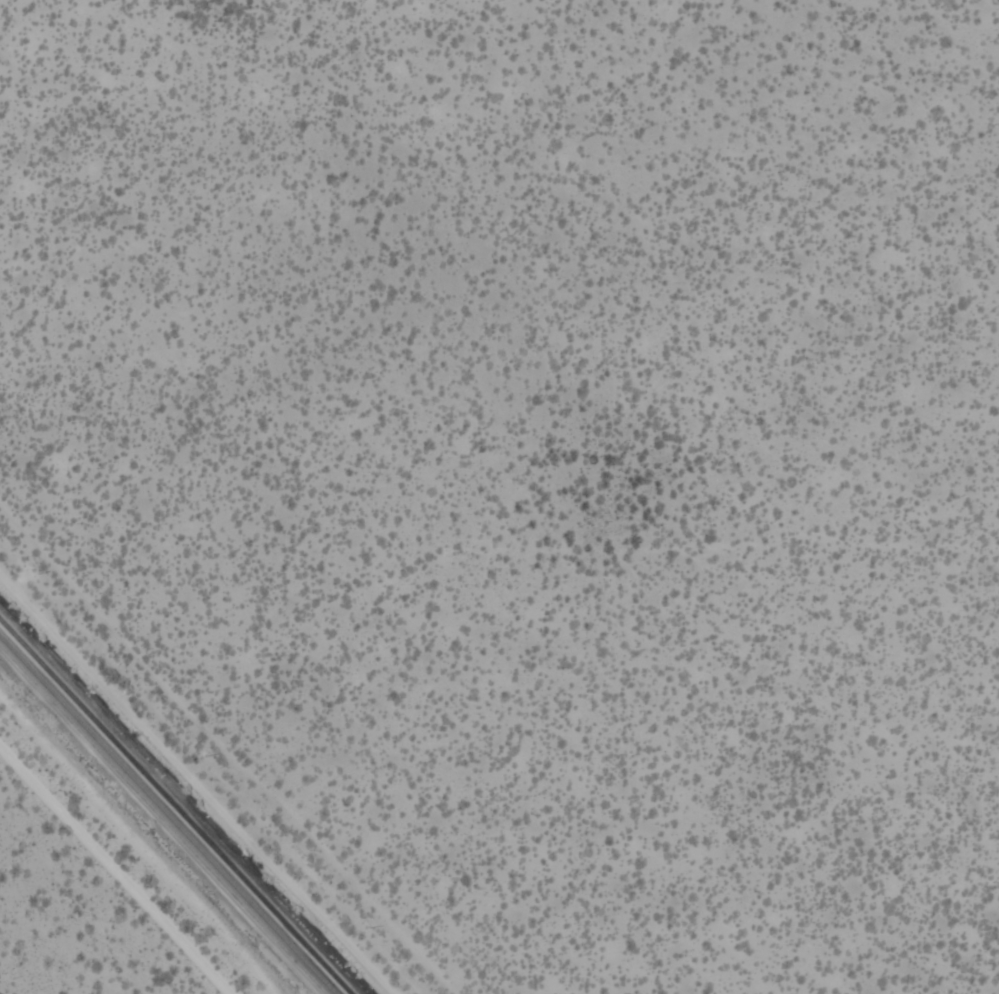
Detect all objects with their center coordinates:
road: (231, 748)
road: (188, 792)
railway: (174, 807)
railway: (166, 816)
road: (115, 870)

